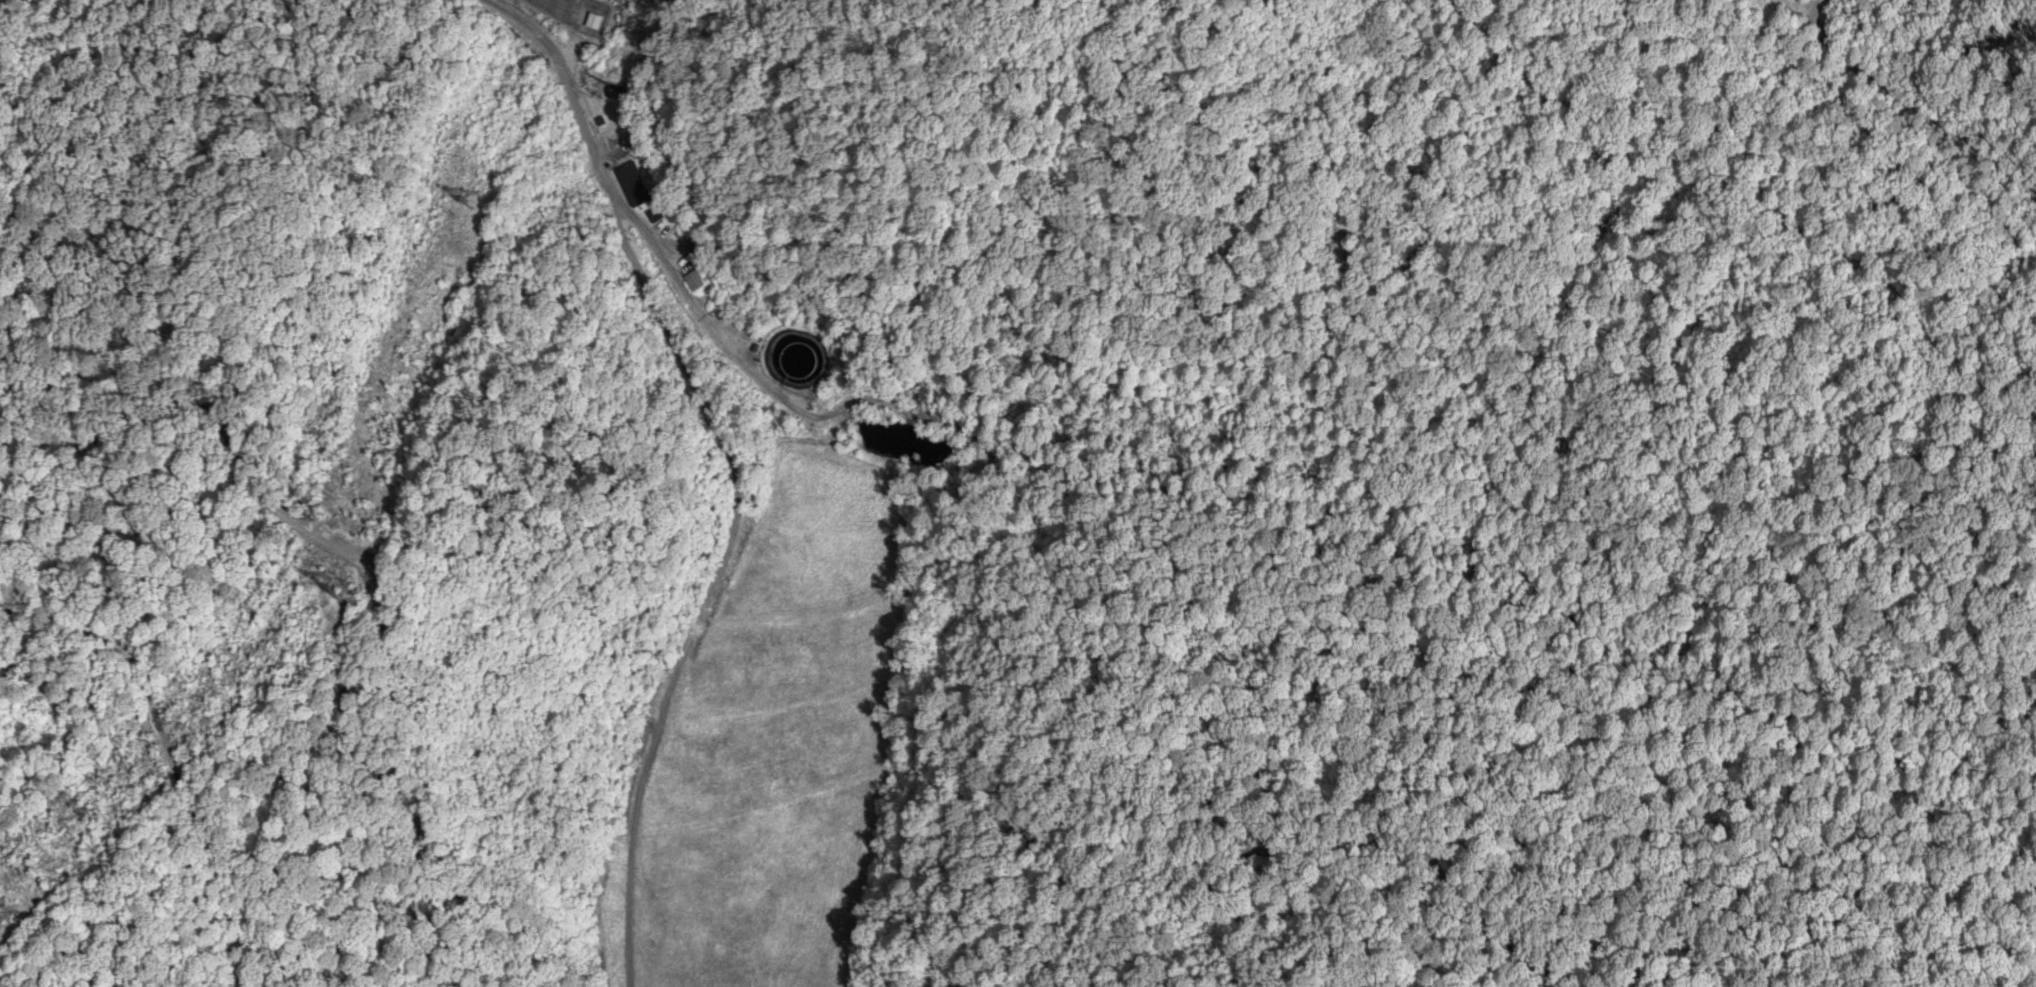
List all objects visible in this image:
building: (592, 23)
road: (565, 70)
building: (633, 186)
building: (797, 362)

